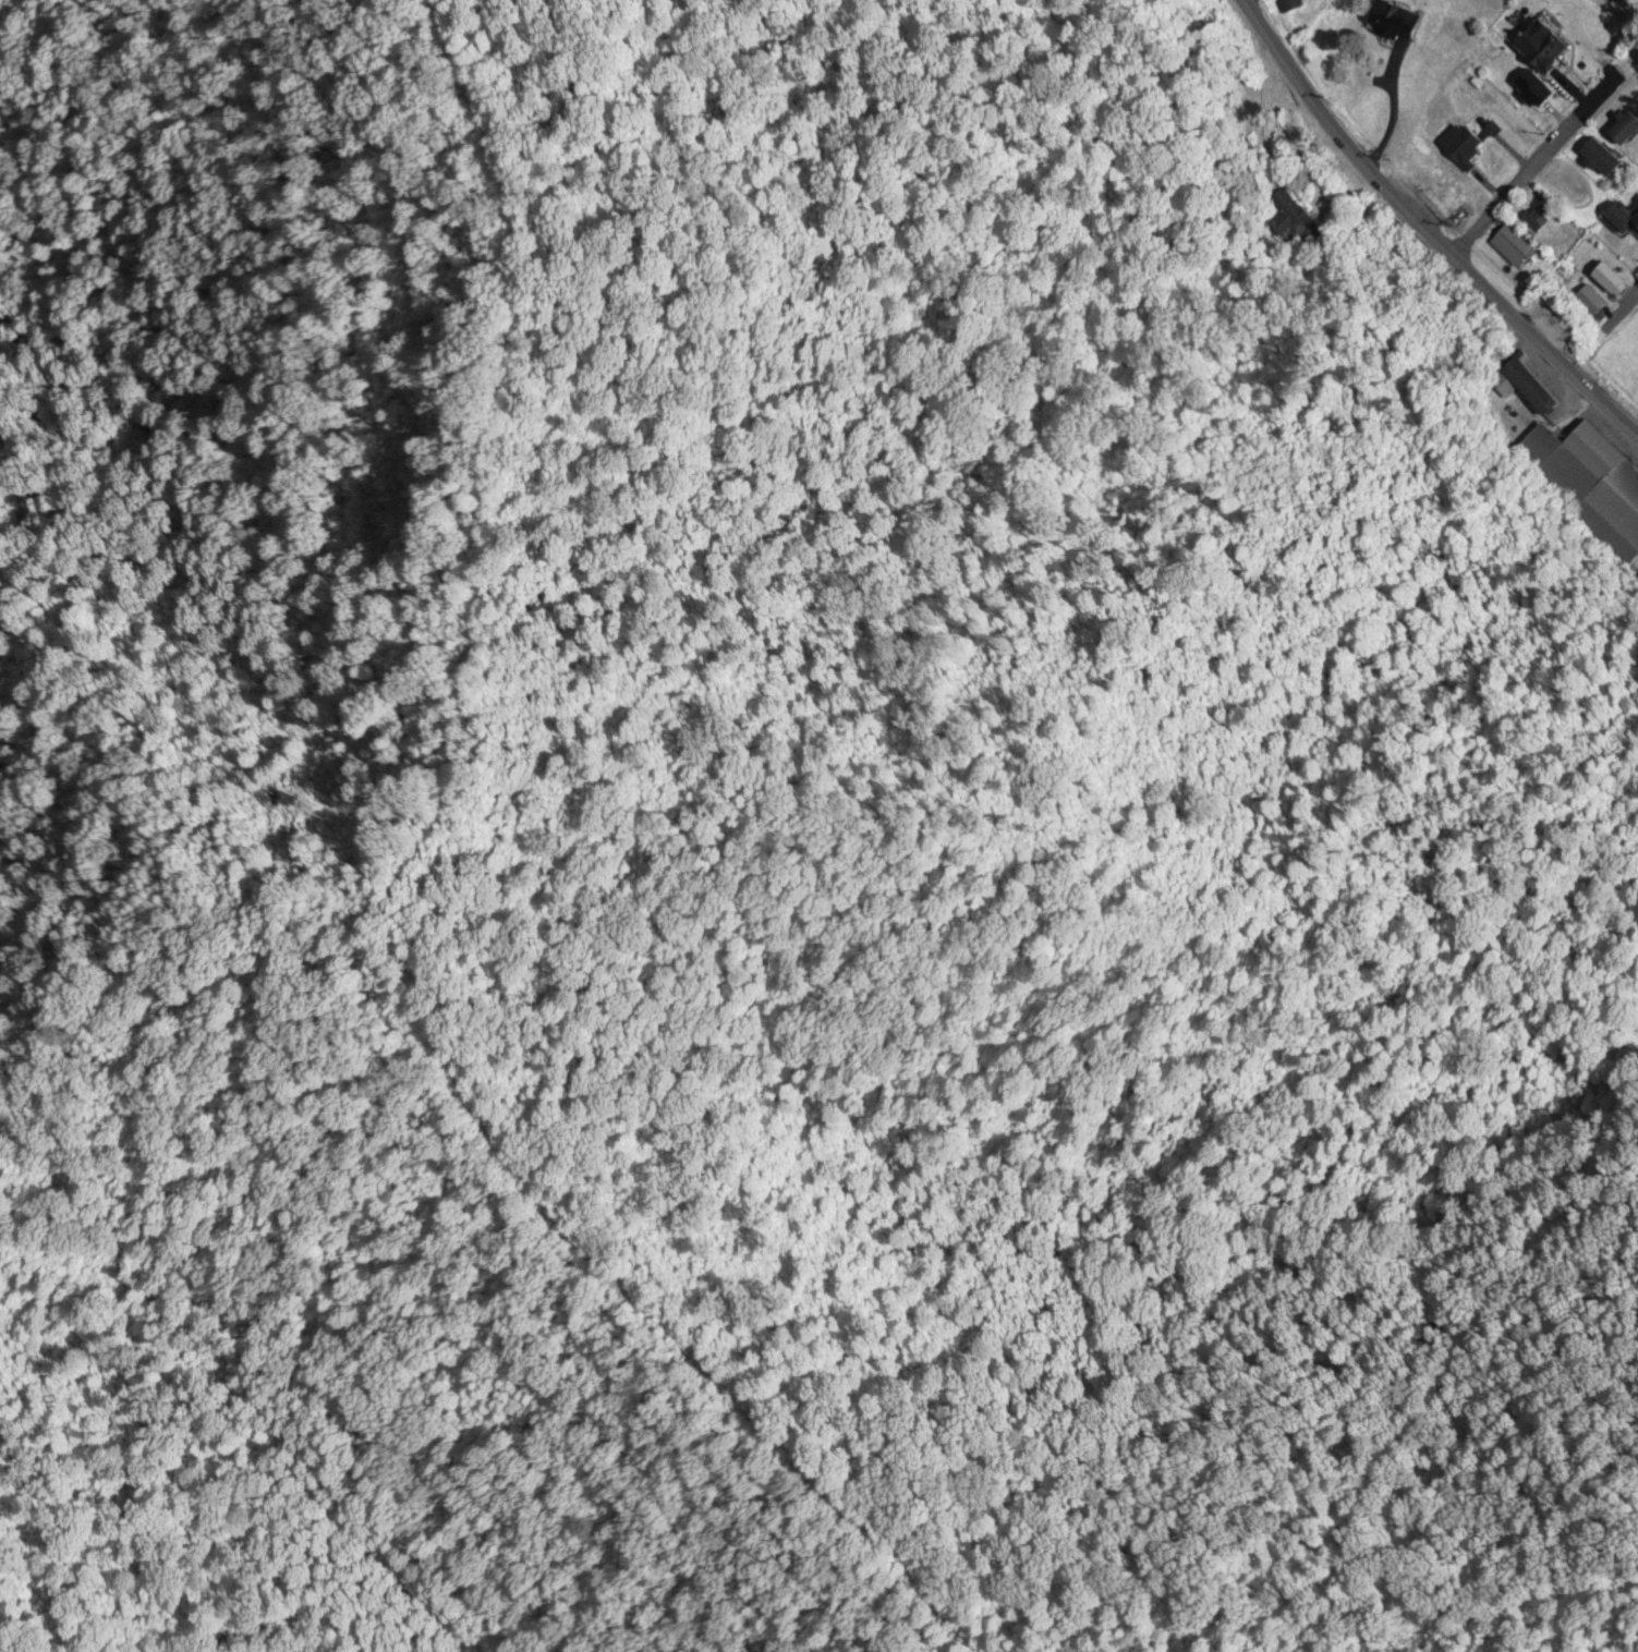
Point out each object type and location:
road: (1250, 7)
building: (1396, 23)
building: (1550, 53)
building: (1534, 92)
building: (1626, 131)
building: (1461, 146)
building: (1602, 159)
road: (1532, 165)
building: (1623, 217)
building: (1538, 221)
road: (1425, 231)
building: (1513, 248)
building: (1612, 280)
building: (1592, 304)
road: (1600, 327)
building: (1589, 485)

